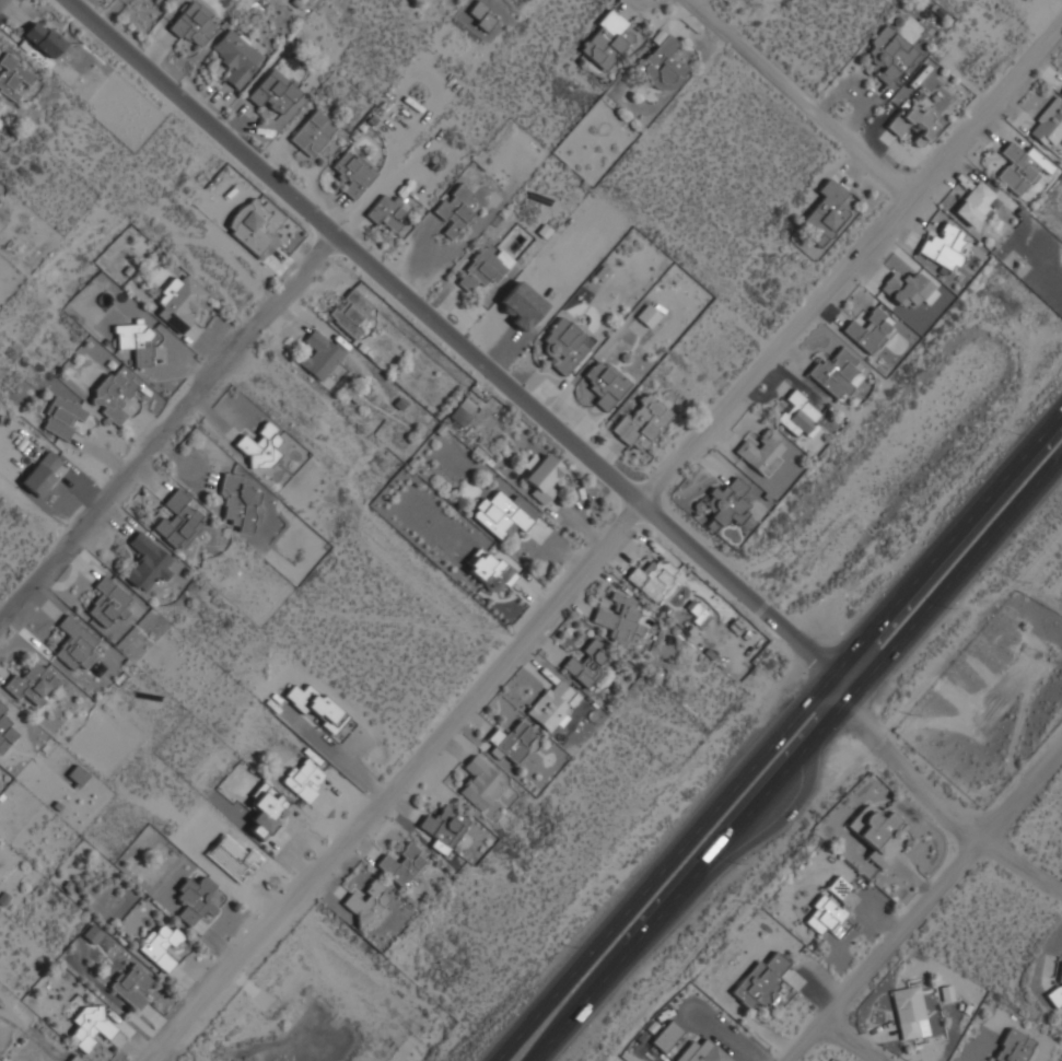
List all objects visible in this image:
building: (481, 14)
building: (196, 24)
building: (45, 38)
building: (607, 39)
building: (890, 54)
building: (237, 57)
building: (663, 65)
building: (13, 77)
building: (275, 91)
road: (805, 93)
building: (1061, 94)
building: (1, 119)
building: (915, 121)
building: (1049, 123)
building: (313, 132)
building: (1019, 167)
building: (353, 173)
building: (976, 203)
building: (455, 209)
building: (387, 212)
building: (825, 213)
building: (256, 225)
building: (944, 246)
building: (485, 269)
building: (908, 289)
building: (180, 302)
building: (522, 305)
building: (352, 312)
building: (647, 316)
building: (870, 329)
building: (138, 340)
road: (466, 345)
building: (564, 345)
building: (320, 353)
building: (838, 372)
building: (607, 383)
building: (115, 392)
building: (463, 410)
building: (800, 413)
building: (62, 416)
building: (643, 422)
road: (175, 441)
building: (261, 447)
building: (762, 452)
building: (42, 474)
building: (544, 476)
building: (241, 501)
building: (732, 503)
building: (504, 513)
building: (179, 520)
road: (606, 538)
building: (148, 561)
building: (490, 570)
building: (653, 579)
building: (109, 603)
building: (621, 618)
building: (75, 644)
building: (587, 663)
building: (34, 683)
building: (317, 706)
building: (552, 706)
building: (2, 708)
road: (772, 731)
building: (5, 734)
building: (514, 742)
road: (796, 757)
building: (305, 779)
building: (481, 782)
building: (267, 812)
building: (444, 827)
building: (879, 833)
road: (748, 849)
road: (1024, 859)
building: (402, 863)
building: (840, 887)
building: (199, 898)
building: (369, 905)
road: (922, 905)
building: (828, 918)
building: (92, 934)
building: (161, 944)
building: (761, 981)
building: (133, 984)
building: (1054, 995)
building: (909, 1011)
building: (95, 1028)
building: (667, 1036)
road: (864, 1036)
building: (1015, 1046)
building: (409, 1049)
building: (703, 1052)
building: (75, 1058)

